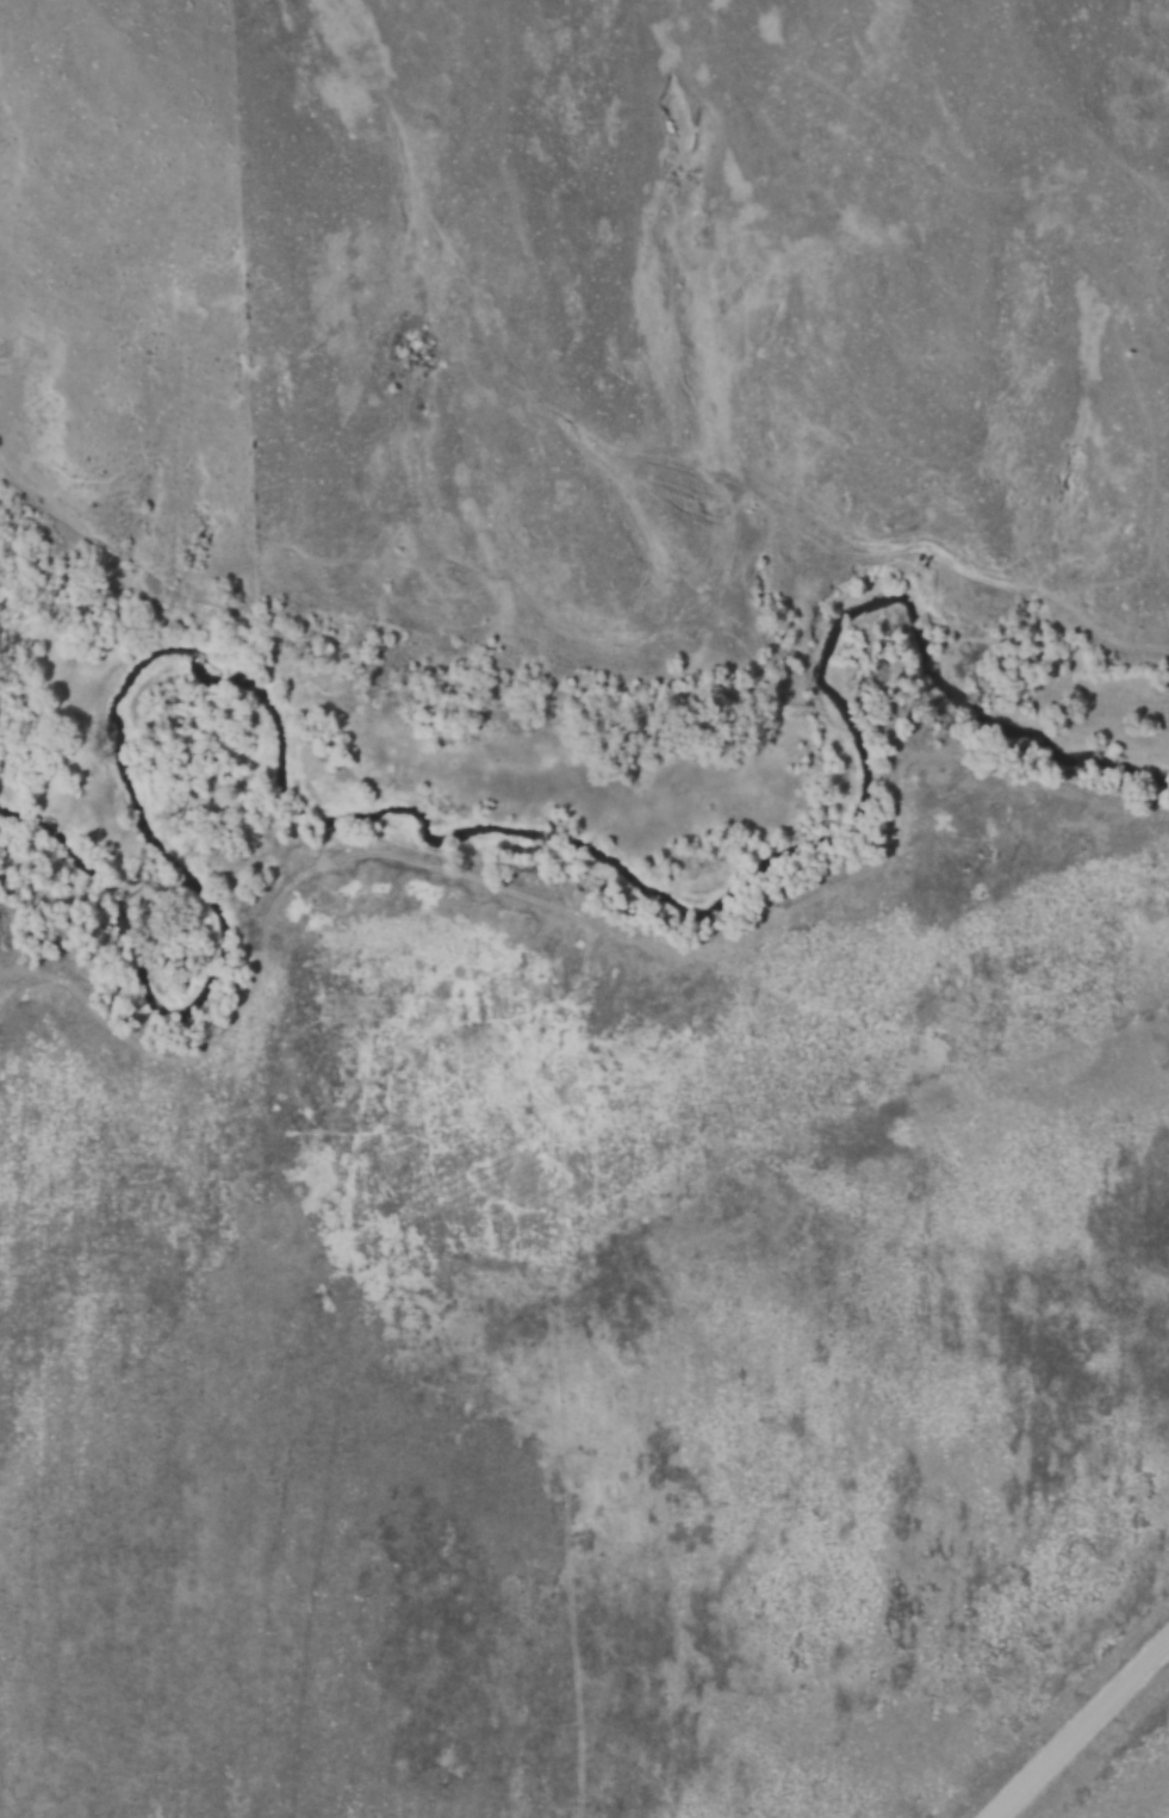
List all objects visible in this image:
road: (1080, 1724)

